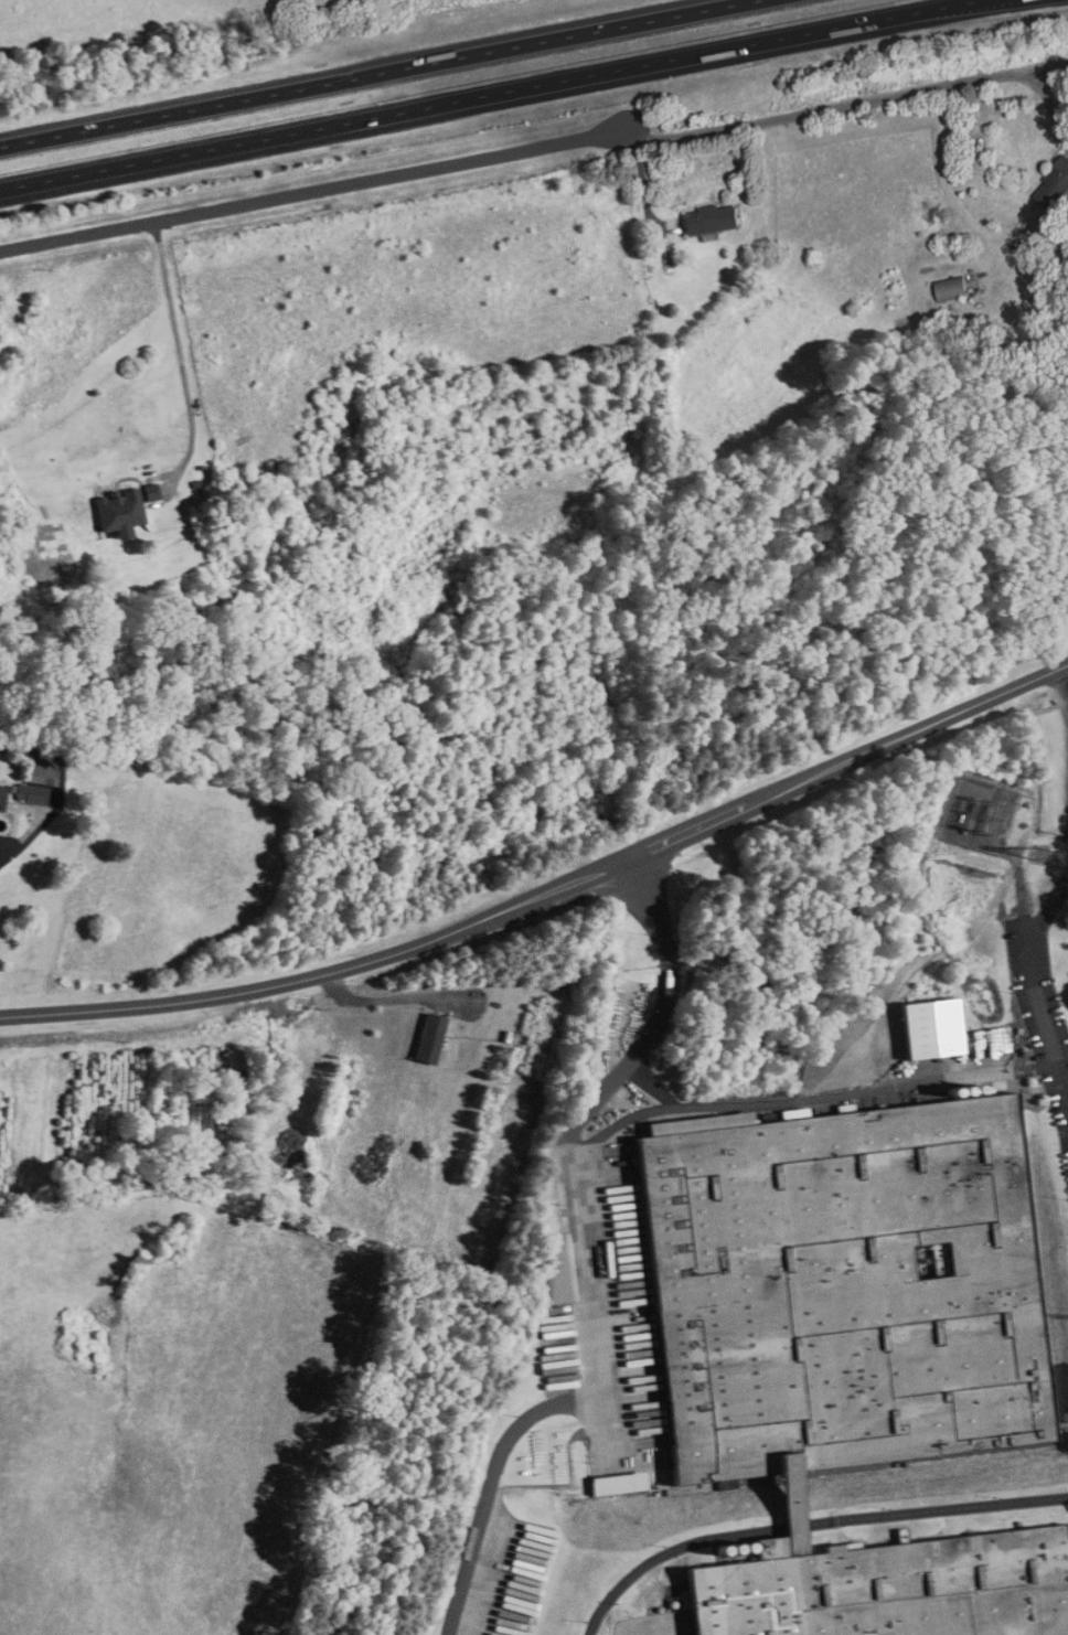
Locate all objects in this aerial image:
road: (381, 73)
road: (491, 94)
road: (515, 138)
building: (1054, 183)
building: (706, 221)
building: (949, 290)
road: (178, 343)
building: (114, 512)
building: (31, 786)
power substation: (976, 812)
road: (1, 848)
road: (546, 898)
building: (549, 1267)
road: (581, 1268)
building: (842, 1294)
building: (617, 1483)
building: (794, 1516)
building: (895, 1589)

